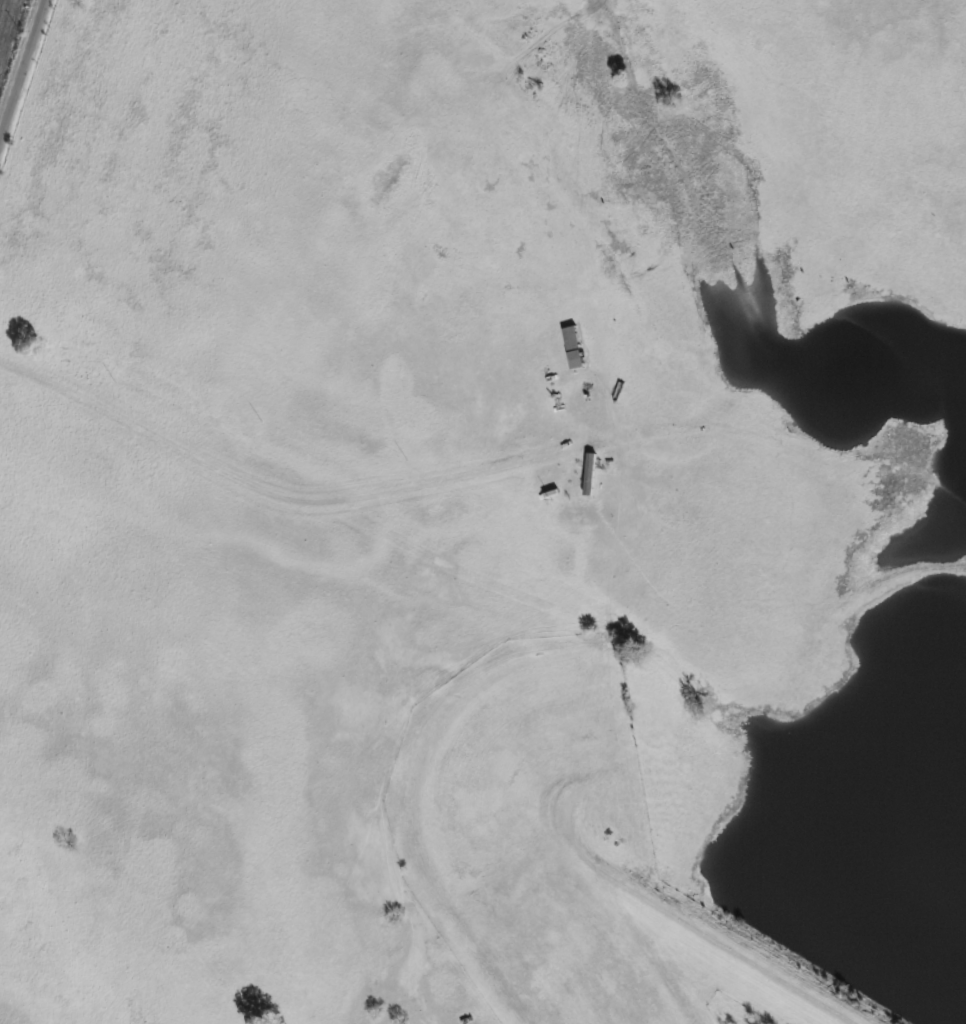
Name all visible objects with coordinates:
road: (22, 70)
building: (574, 346)
building: (591, 473)

